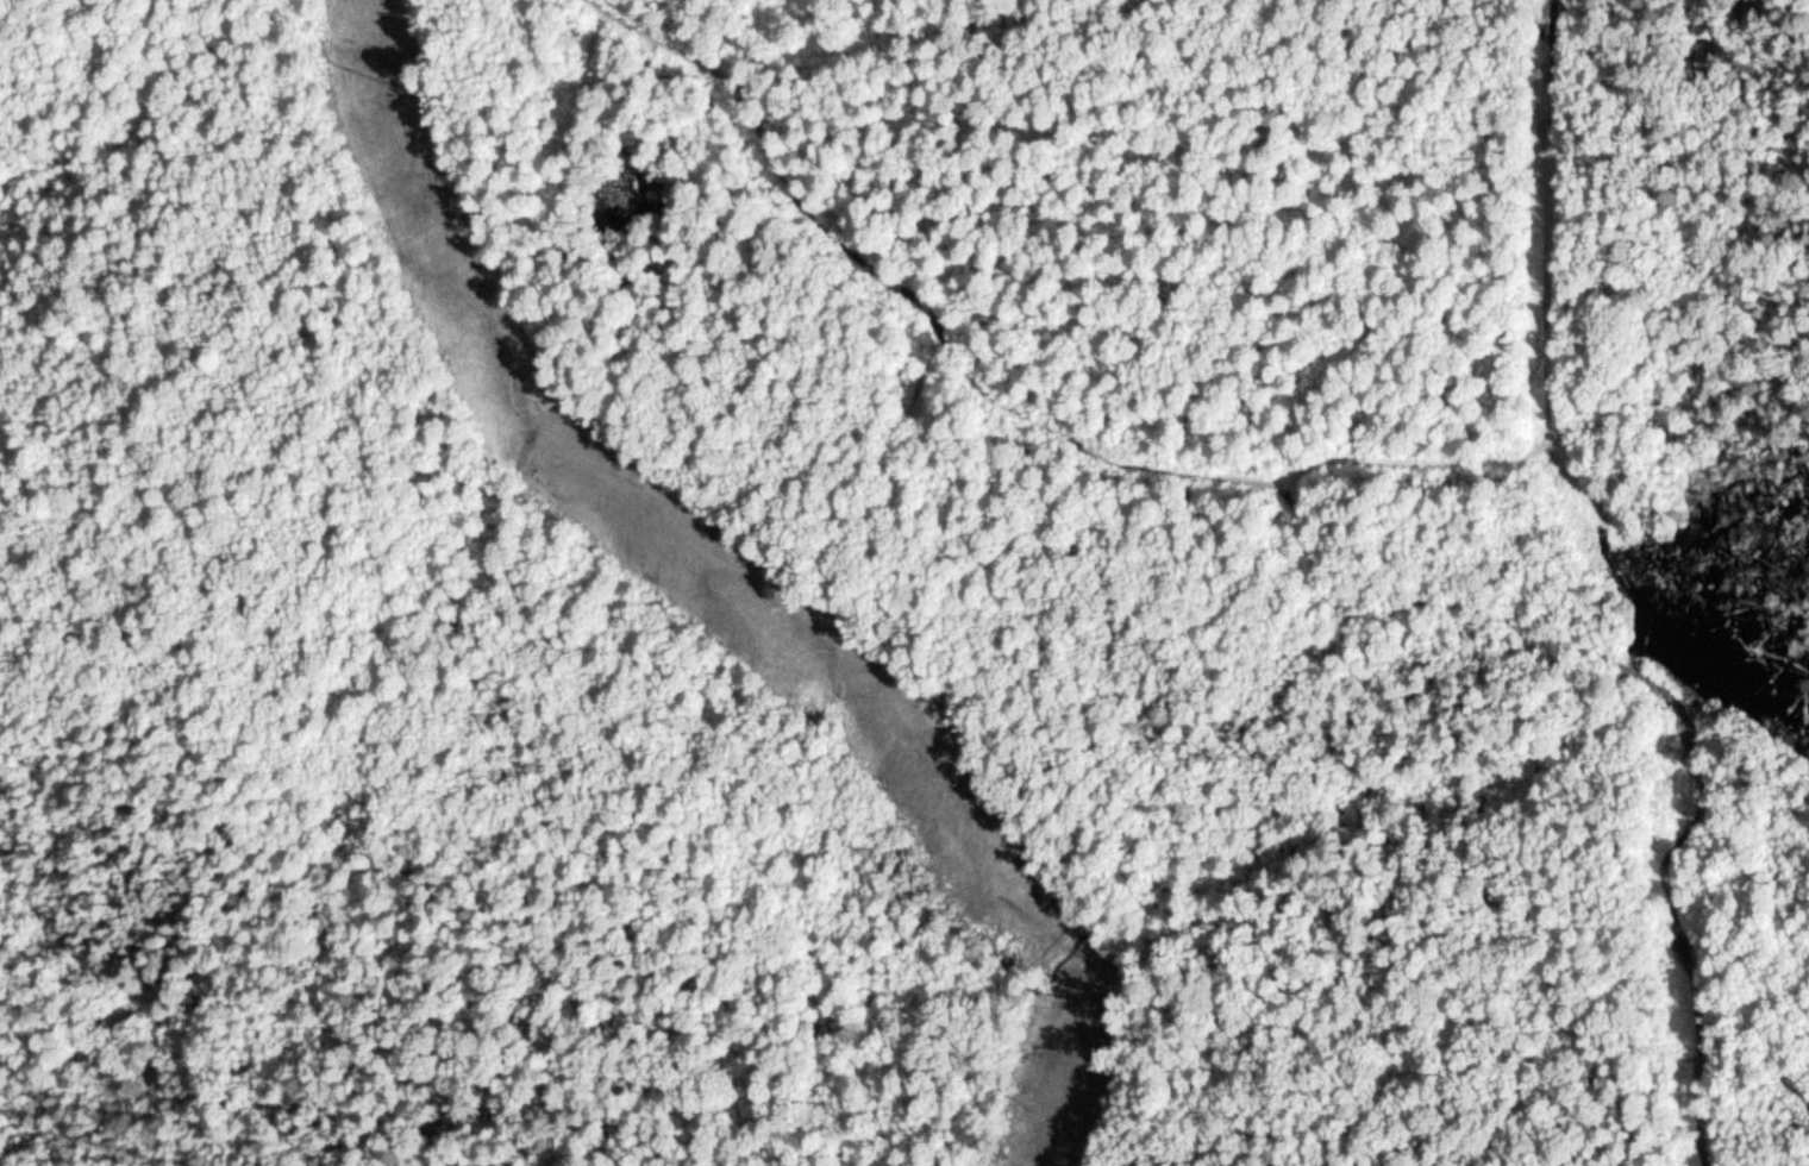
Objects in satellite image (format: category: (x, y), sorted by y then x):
road: (1633, 585)

